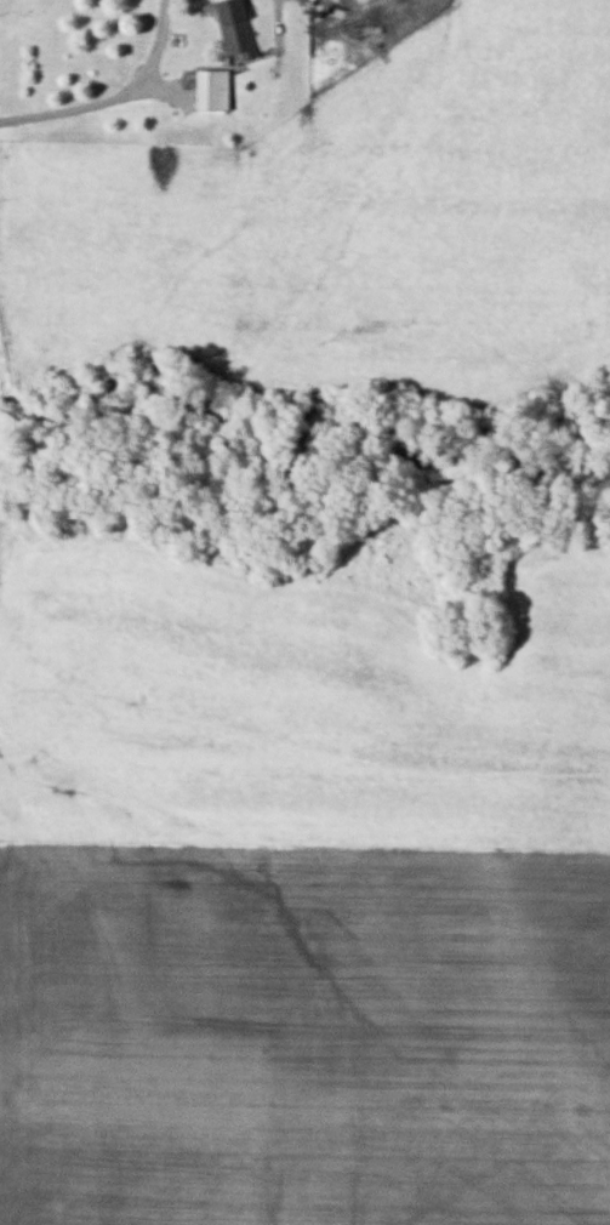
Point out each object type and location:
building: (238, 28)
building: (216, 89)

